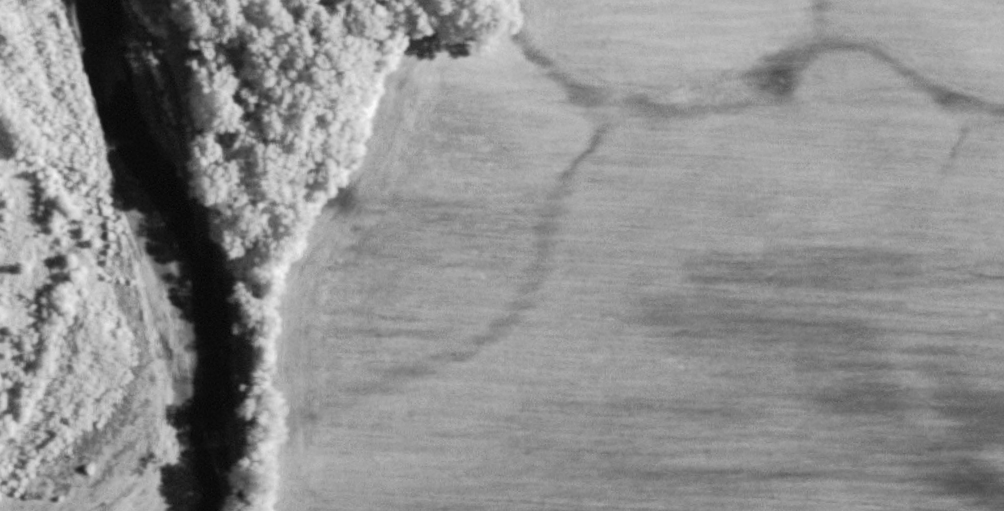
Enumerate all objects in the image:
river: (114, 249)

